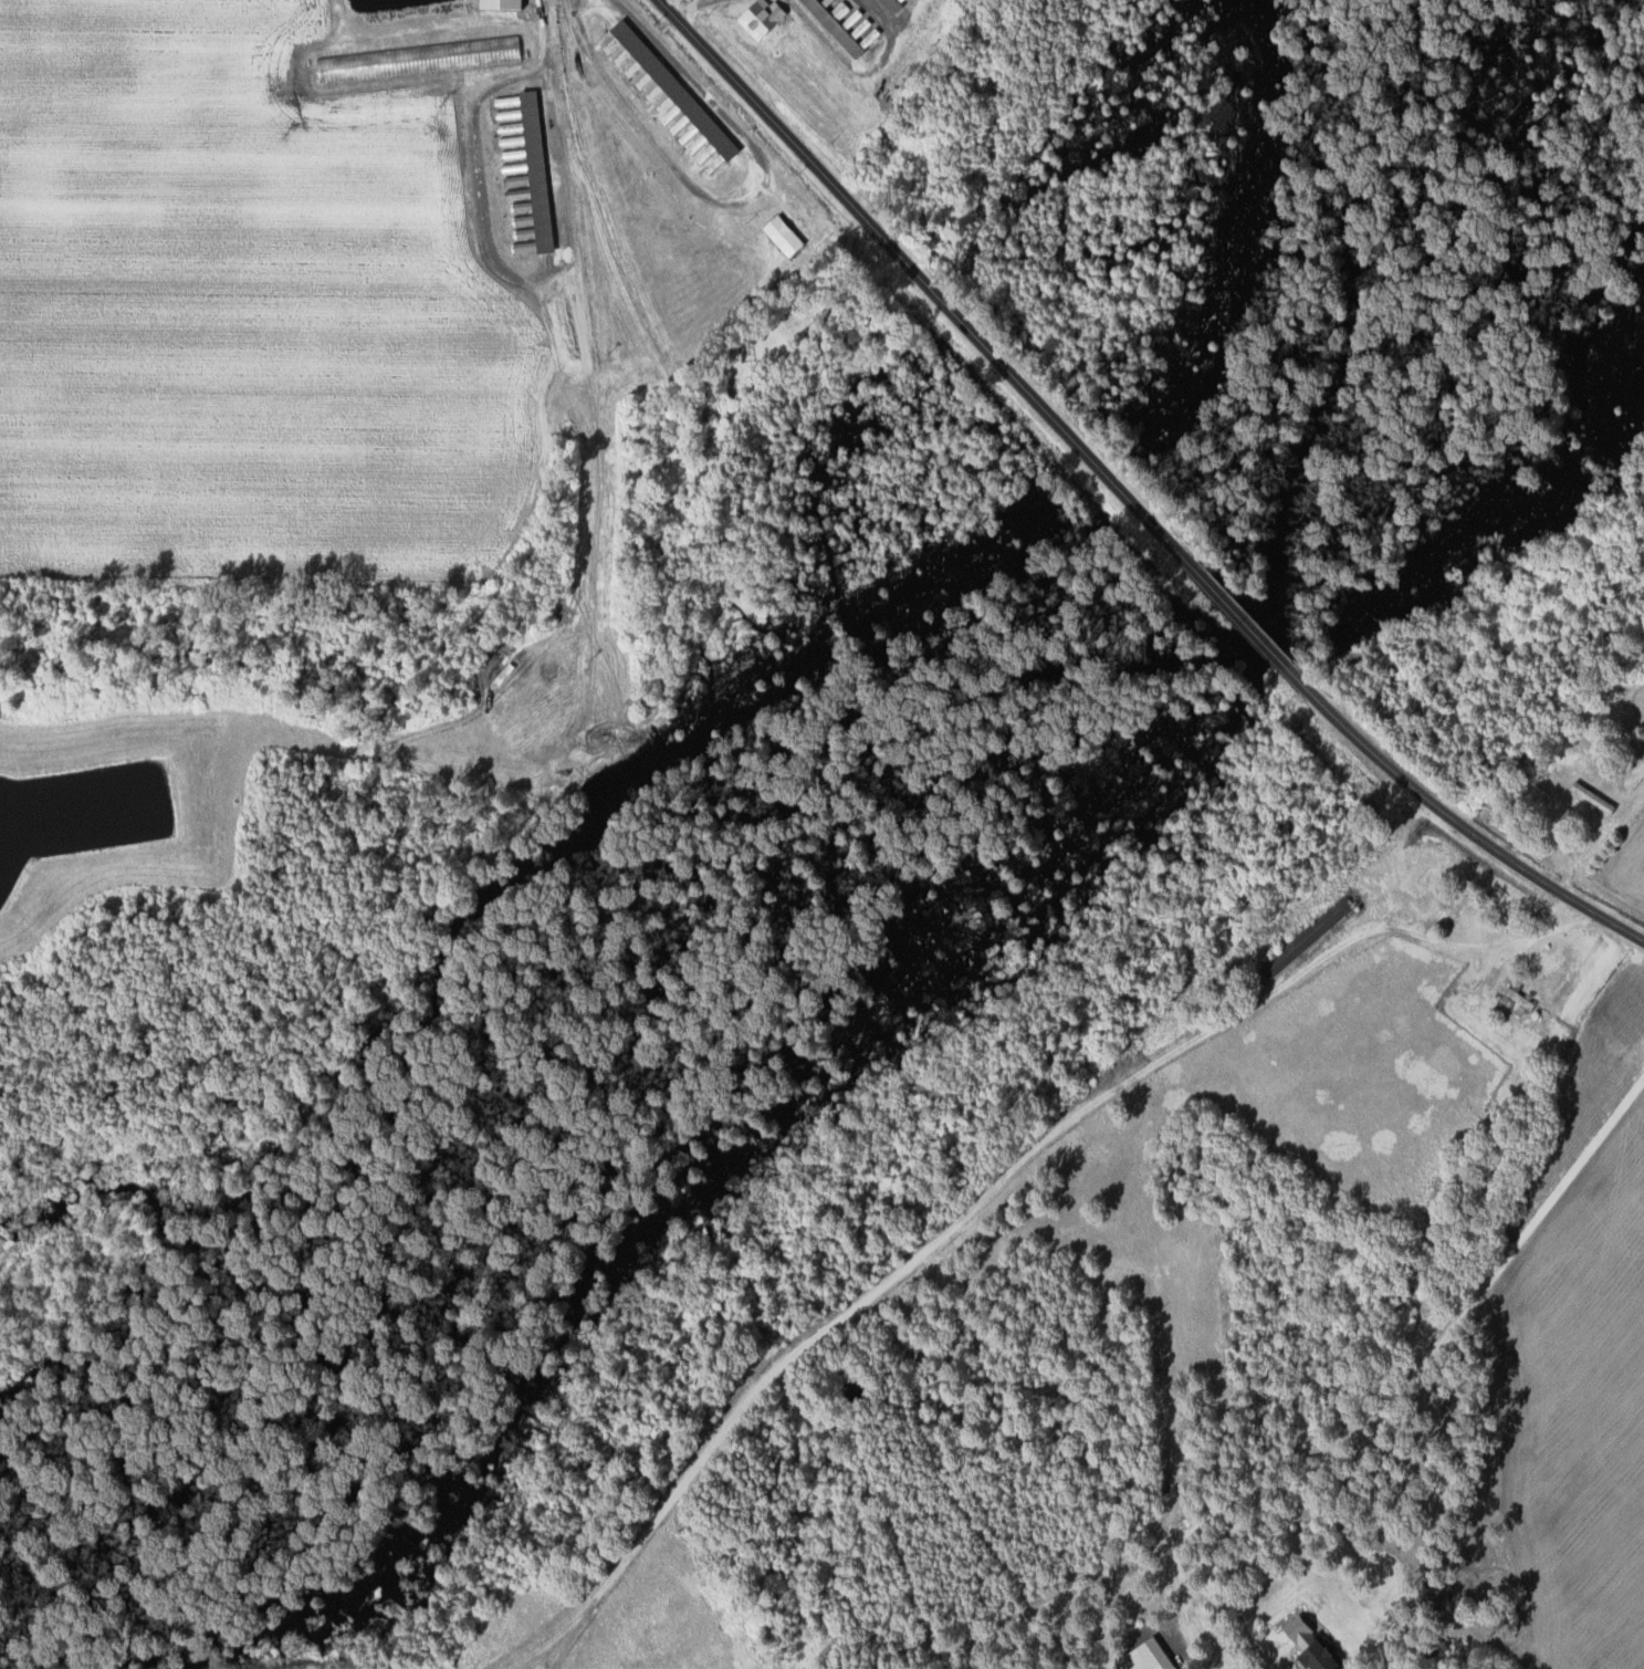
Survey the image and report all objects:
building: (890, 4)
building: (760, 17)
building: (863, 29)
building: (491, 50)
building: (667, 96)
building: (526, 163)
building: (520, 206)
building: (781, 234)
road: (931, 282)
road: (1242, 622)
road: (1455, 822)
river: (870, 908)
building: (1305, 937)
building: (1515, 1000)
road: (1422, 1368)
road: (1190, 1637)
building: (1311, 1646)
building: (1146, 1656)
road: (1270, 1662)

